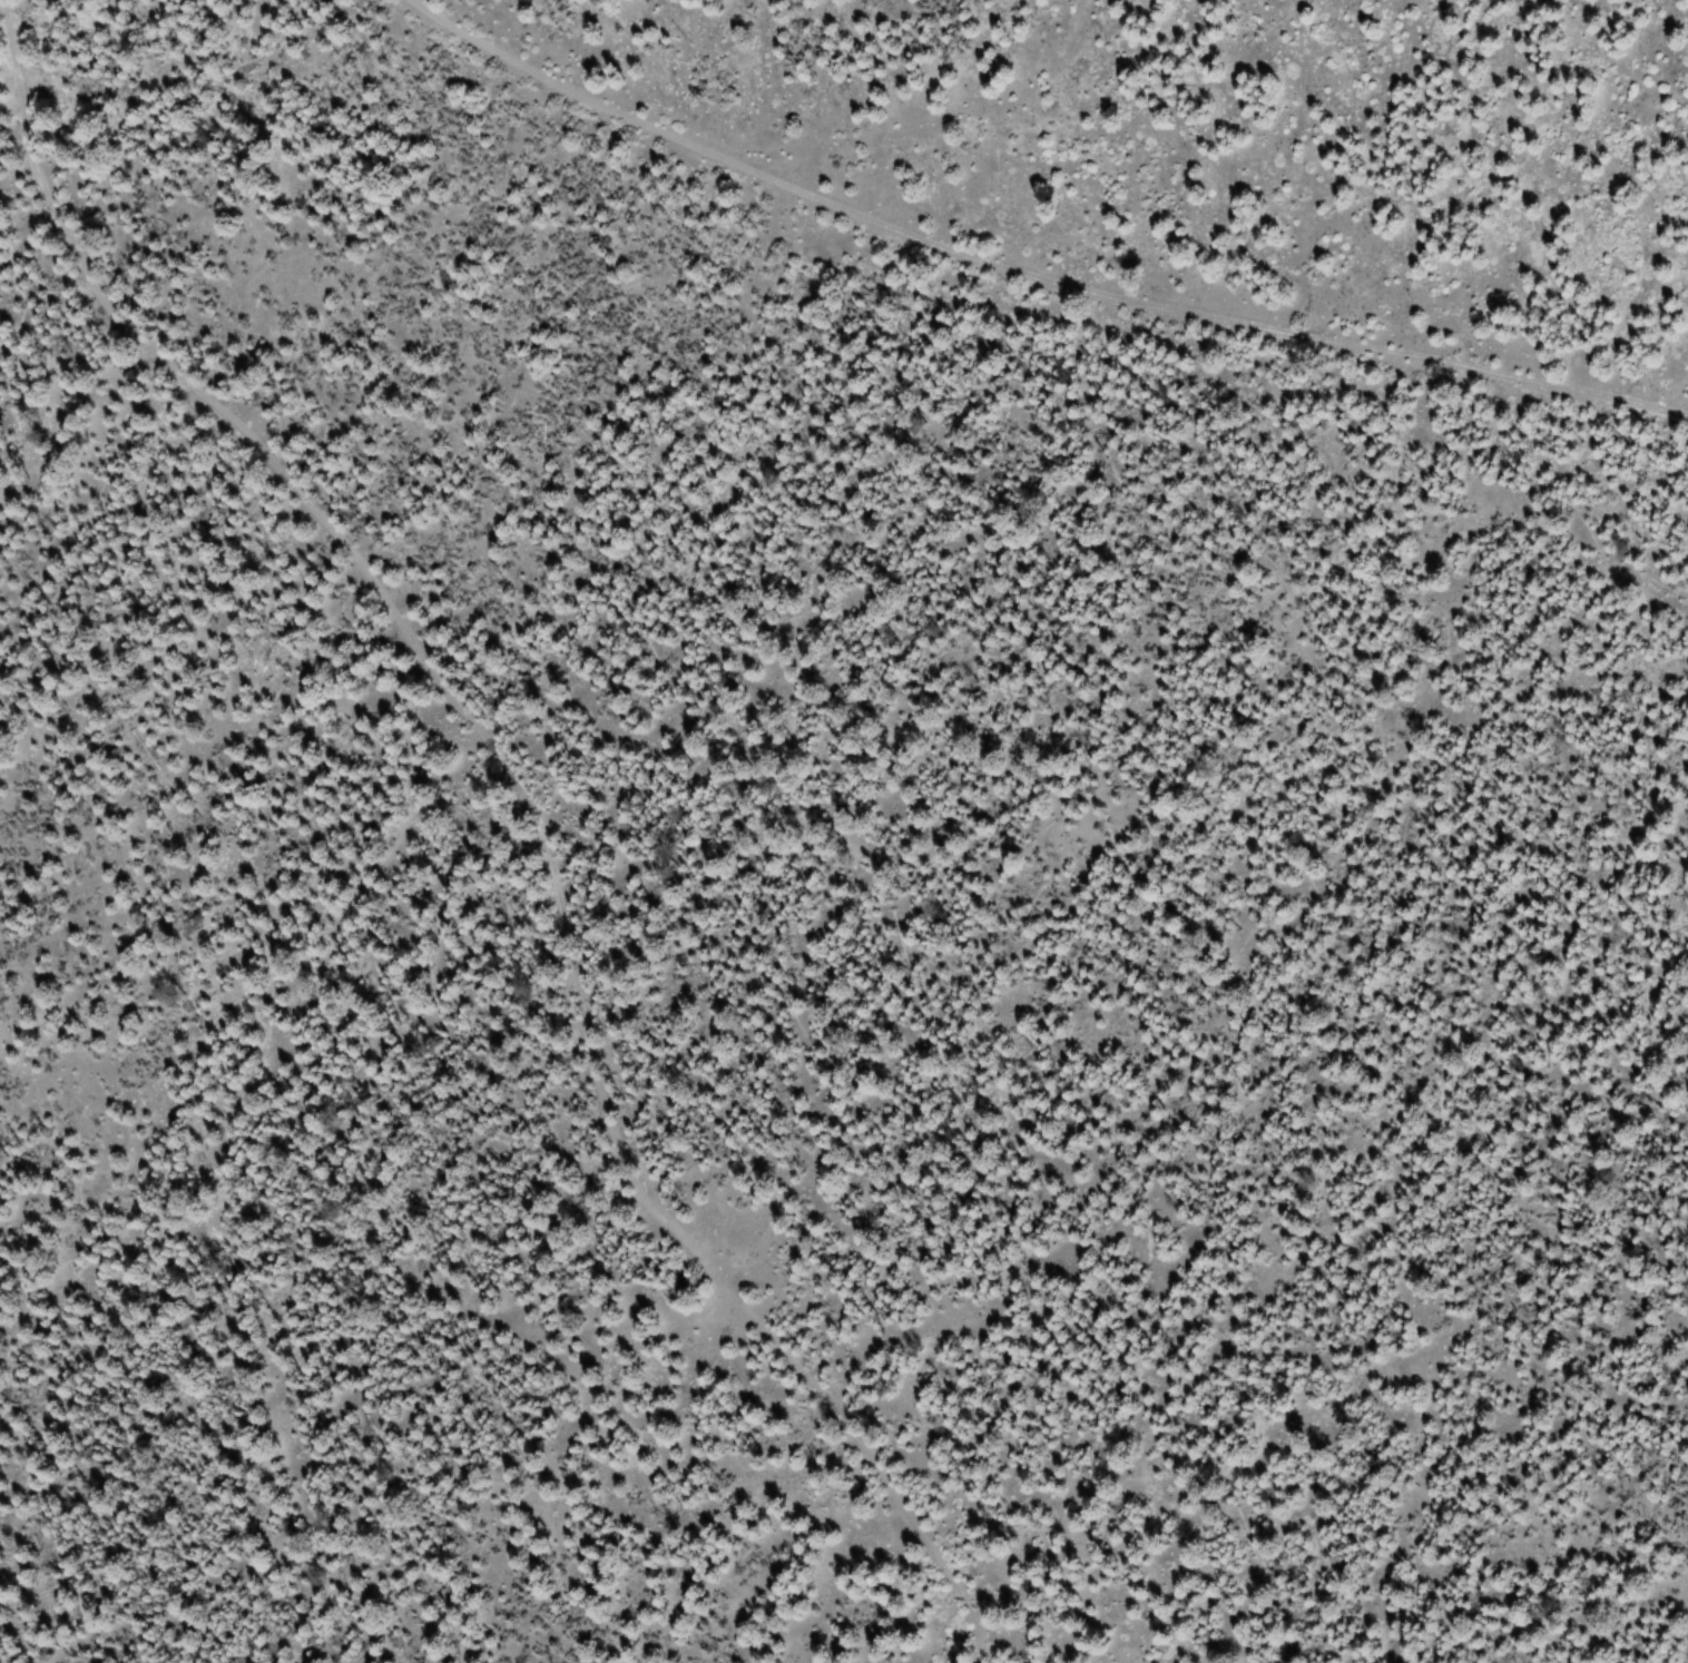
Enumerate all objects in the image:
road: (934, 117)
road: (1031, 272)
road: (537, 816)

